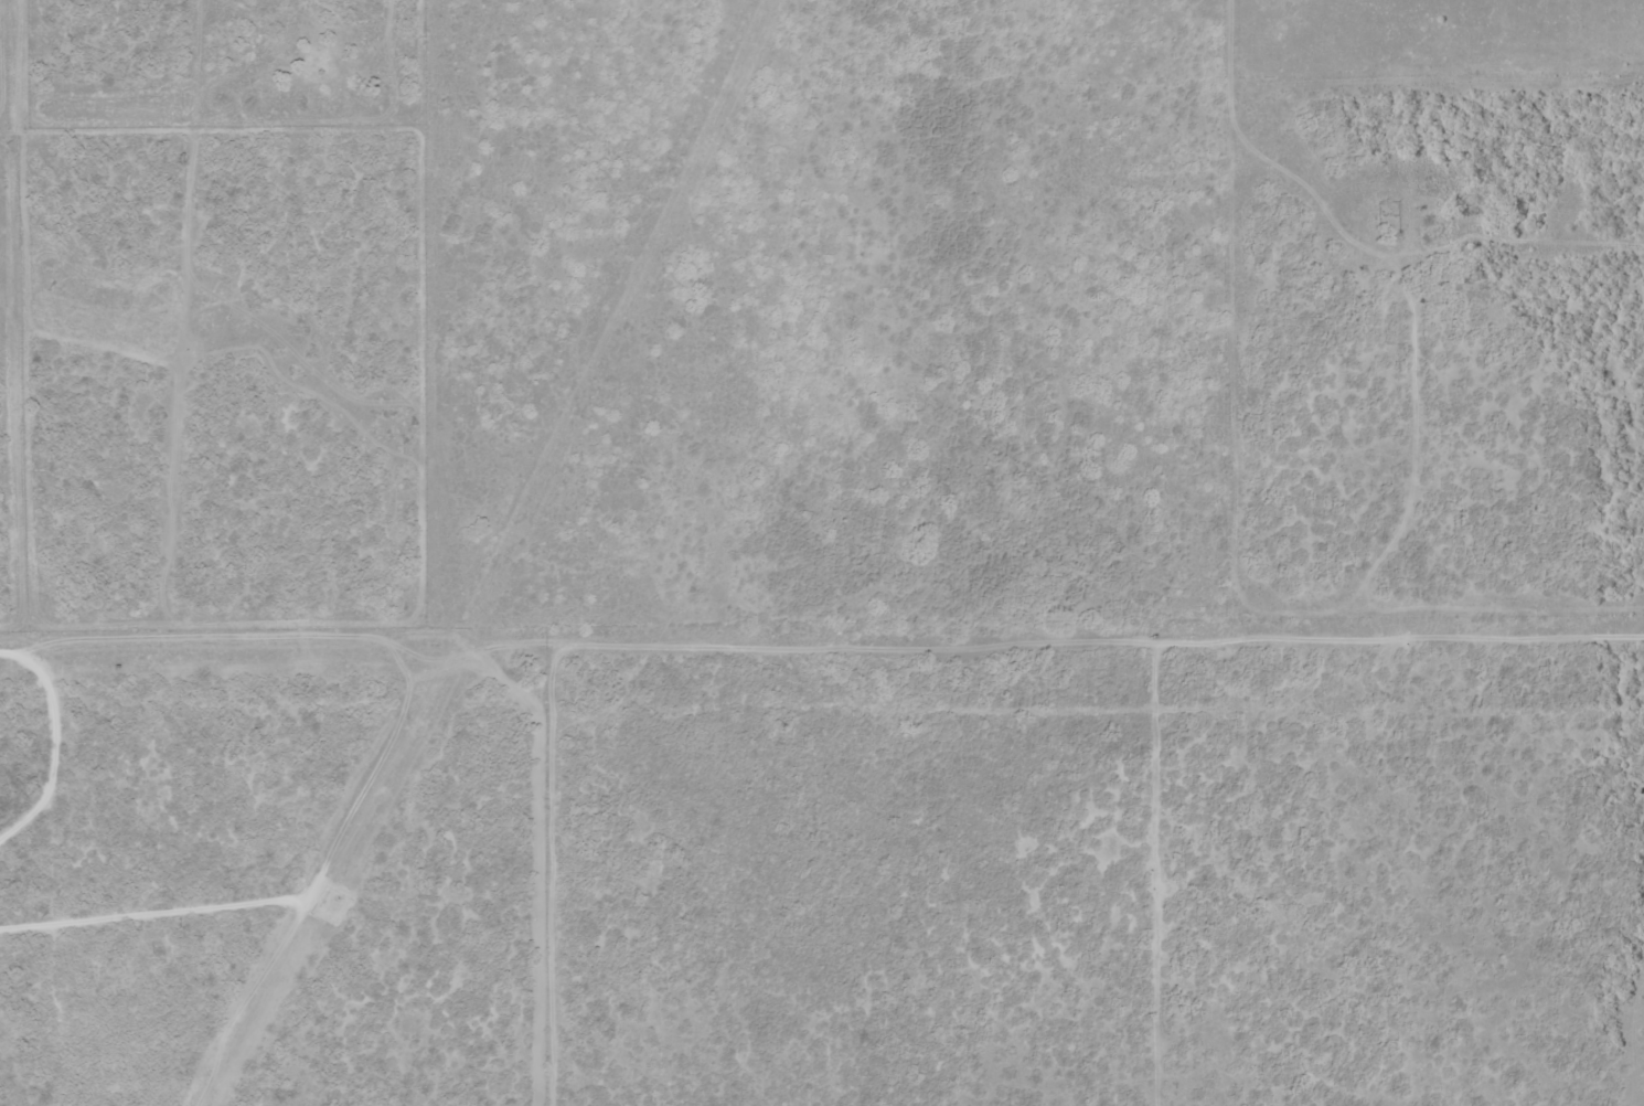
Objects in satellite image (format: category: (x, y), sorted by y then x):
road: (26, 930)

